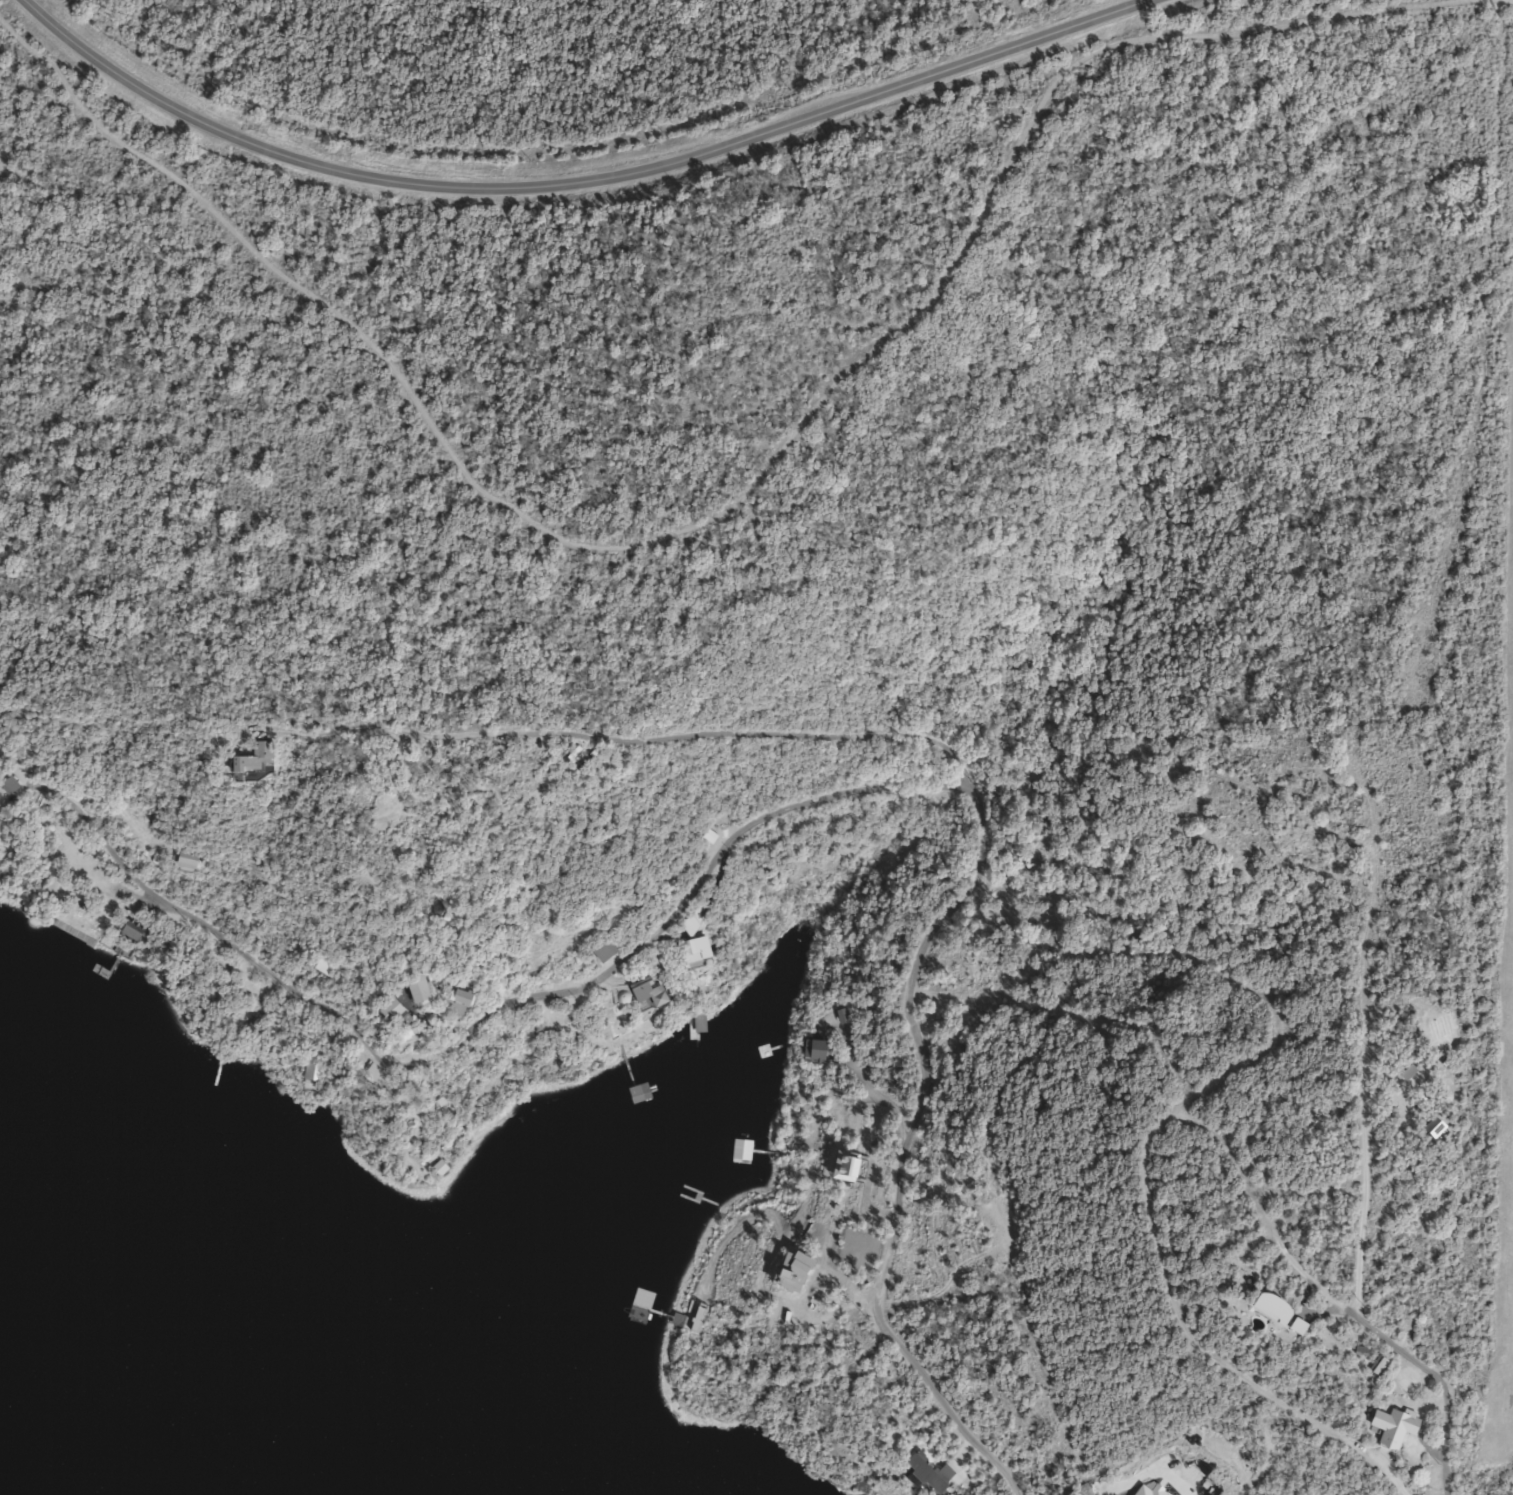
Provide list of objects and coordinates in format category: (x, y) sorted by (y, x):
road: (576, 180)
road: (619, 737)
building: (246, 757)
building: (6, 785)
road: (724, 832)
building: (179, 862)
road: (648, 865)
building: (686, 926)
building: (126, 931)
building: (598, 949)
building: (688, 953)
building: (644, 991)
building: (453, 992)
building: (382, 1009)
building: (698, 1024)
road: (1161, 1033)
building: (809, 1050)
building: (641, 1100)
road: (1361, 1128)
road: (1261, 1219)
road: (1148, 1224)
building: (1269, 1309)
airport runway: (1510, 1325)
building: (1296, 1327)
building: (1376, 1366)
road: (1436, 1380)
building: (1393, 1430)
road: (1147, 1475)

